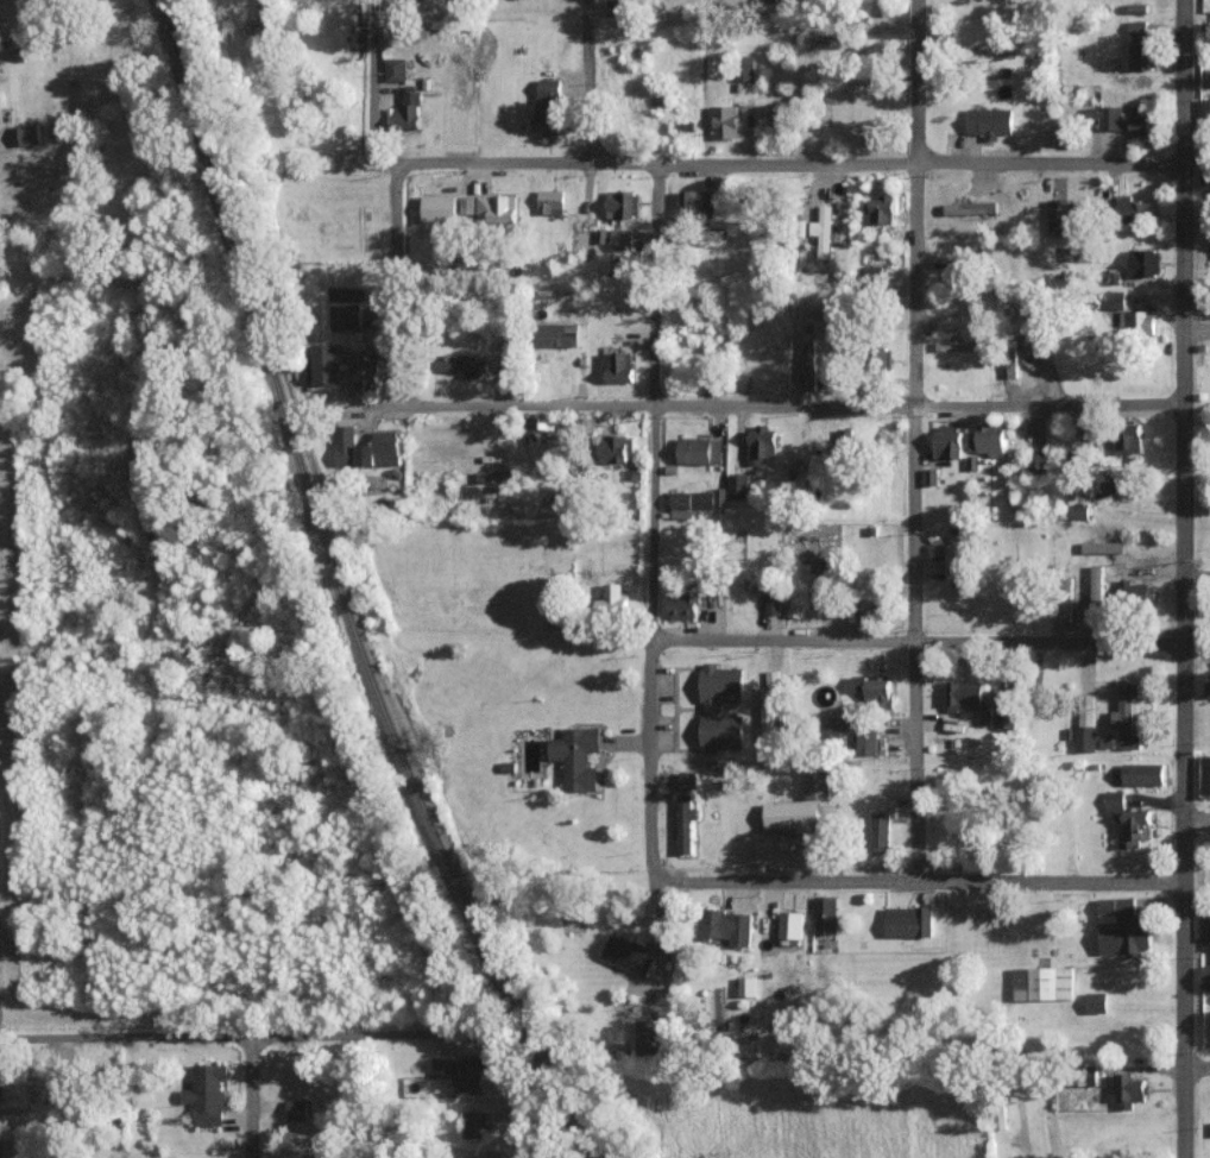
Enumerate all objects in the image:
building: (265, 13)
road: (830, 17)
road: (5, 23)
building: (1141, 40)
building: (746, 67)
building: (395, 69)
road: (587, 81)
building: (548, 106)
building: (1205, 108)
building: (409, 111)
building: (1108, 115)
building: (1141, 120)
building: (725, 121)
building: (989, 121)
building: (29, 133)
road: (789, 162)
road: (395, 196)
building: (552, 201)
building: (698, 201)
building: (622, 203)
building: (467, 204)
building: (969, 207)
building: (496, 208)
building: (1134, 208)
building: (880, 209)
building: (1059, 216)
building: (824, 231)
building: (622, 238)
building: (1145, 262)
road: (4, 284)
building: (1115, 298)
building: (345, 316)
building: (1137, 322)
road: (1197, 331)
building: (557, 333)
building: (959, 345)
building: (324, 363)
building: (506, 364)
building: (462, 365)
building: (618, 366)
building: (363, 370)
building: (809, 370)
road: (790, 405)
road: (7, 417)
building: (1127, 438)
building: (988, 439)
road: (912, 440)
building: (947, 440)
building: (761, 442)
building: (345, 445)
building: (615, 447)
building: (380, 449)
building: (700, 449)
building: (1039, 461)
building: (738, 485)
building: (1110, 487)
building: (1078, 511)
road: (650, 522)
building: (1103, 546)
building: (957, 568)
road: (1196, 575)
road: (1183, 578)
building: (801, 587)
building: (1097, 589)
building: (1136, 590)
railway: (347, 593)
building: (612, 597)
building: (773, 602)
building: (683, 604)
building: (872, 608)
road: (915, 641)
road: (2, 663)
building: (773, 678)
building: (875, 690)
building: (970, 699)
building: (710, 707)
building: (769, 712)
building: (1126, 715)
building: (1004, 717)
building: (1085, 724)
building: (576, 756)
building: (1143, 773)
building: (1205, 775)
building: (688, 781)
building: (818, 781)
building: (792, 813)
road: (1196, 817)
building: (686, 822)
building: (1128, 822)
building: (880, 831)
road: (914, 881)
building: (826, 914)
building: (909, 920)
building: (1205, 924)
building: (726, 926)
building: (790, 926)
building: (1122, 927)
building: (628, 955)
building: (1205, 977)
building: (1044, 983)
building: (746, 986)
building: (1097, 1002)
building: (649, 1036)
road: (252, 1038)
road: (1196, 1065)
building: (461, 1071)
building: (1130, 1090)
building: (208, 1093)
road: (248, 1099)
road: (516, 1103)
building: (297, 1109)
building: (475, 1124)
road: (1029, 1137)

